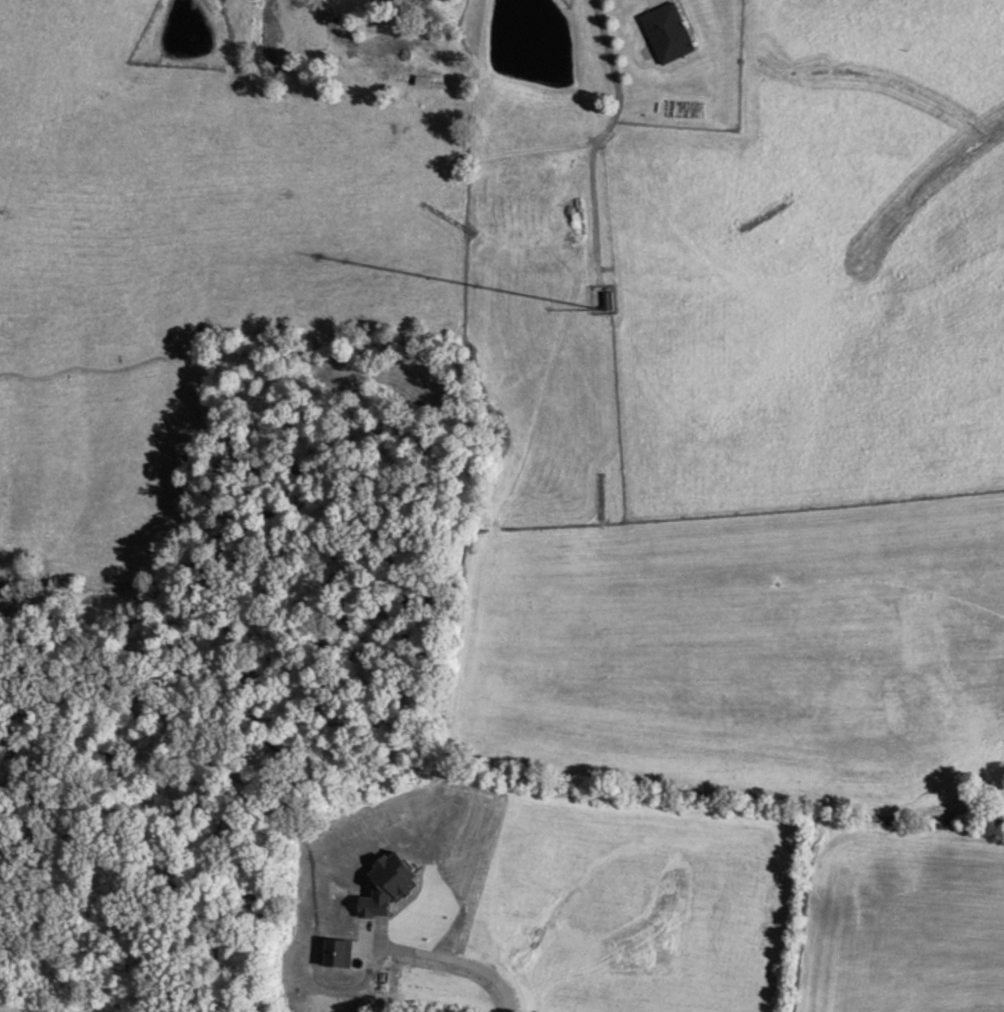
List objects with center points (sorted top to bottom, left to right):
building: (671, 33)
building: (423, 81)
building: (610, 300)

